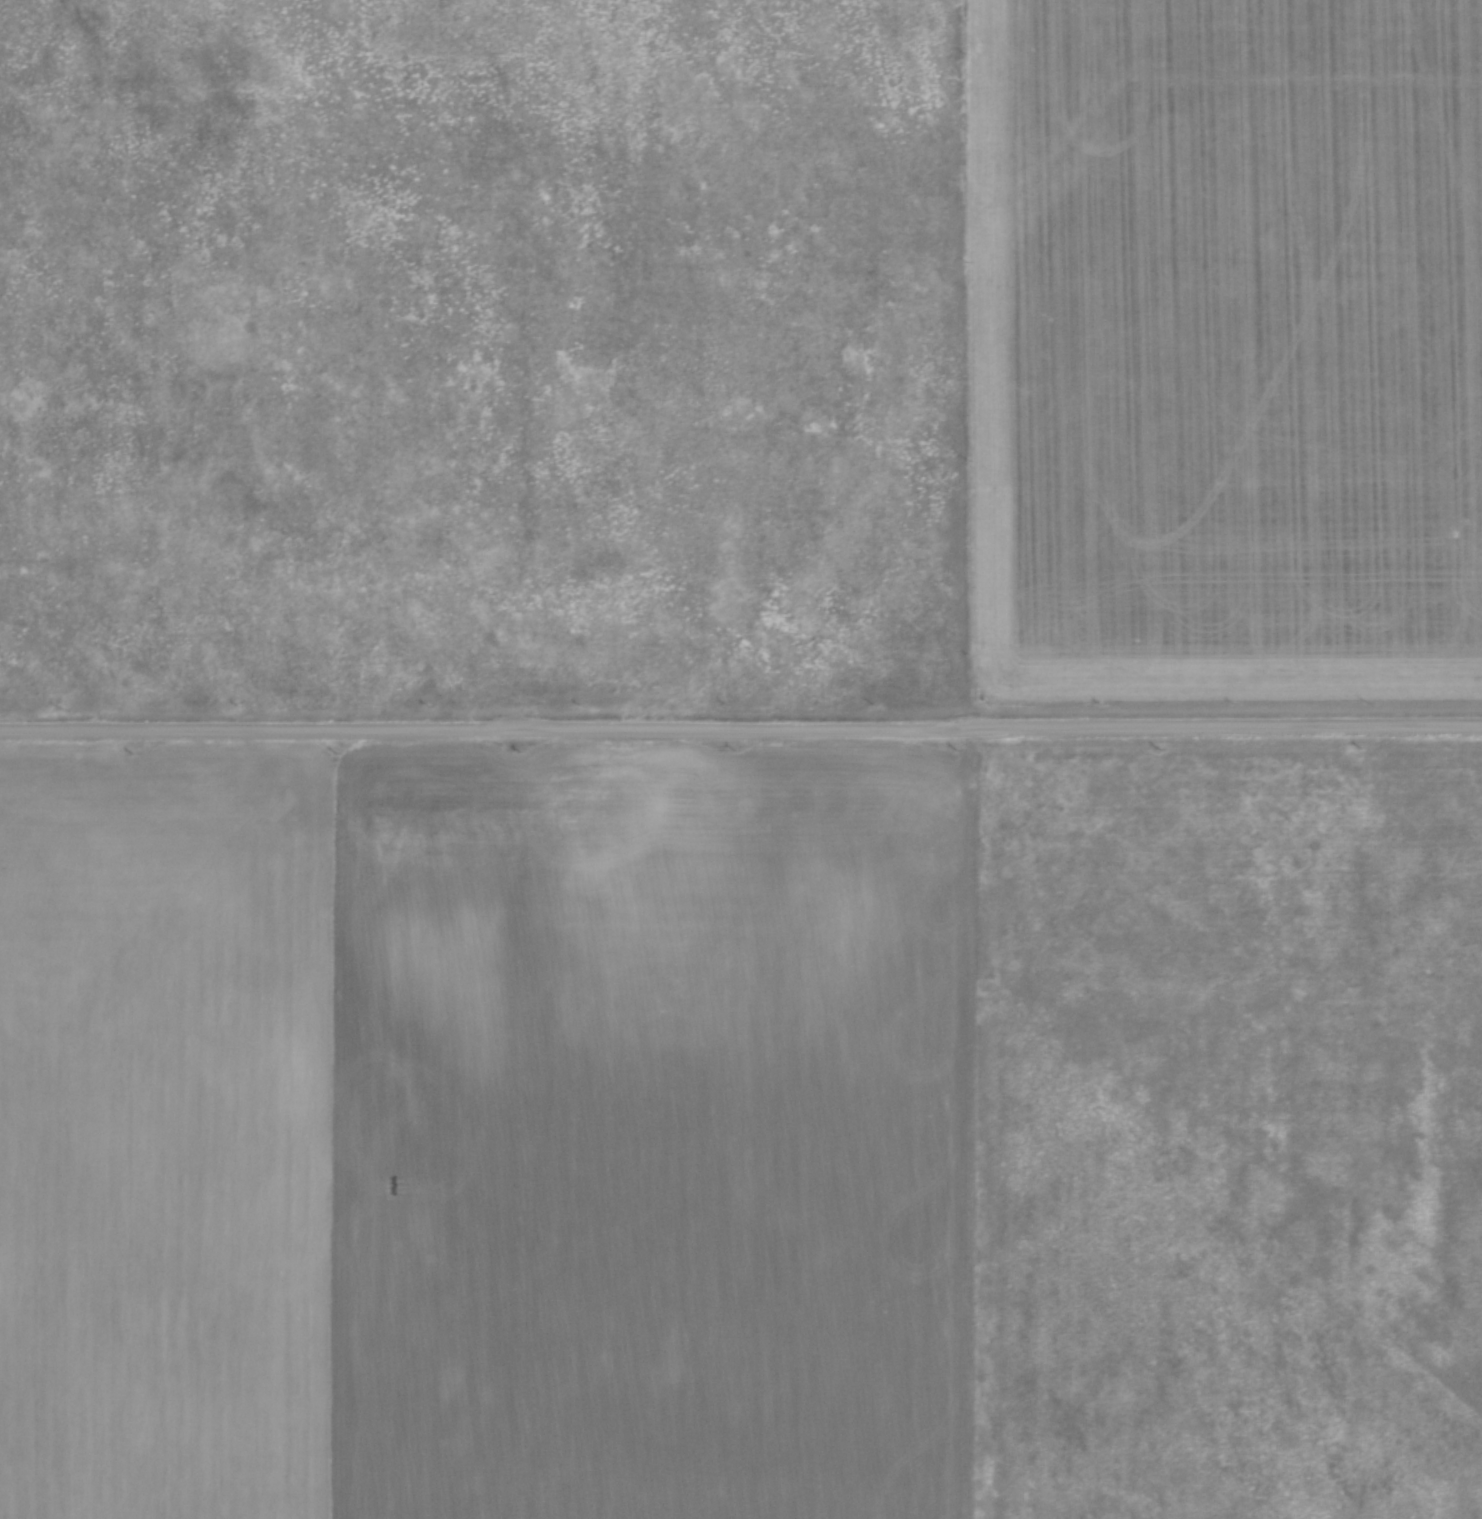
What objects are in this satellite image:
crop: (739, 352)
road: (740, 725)
crop: (611, 1167)

